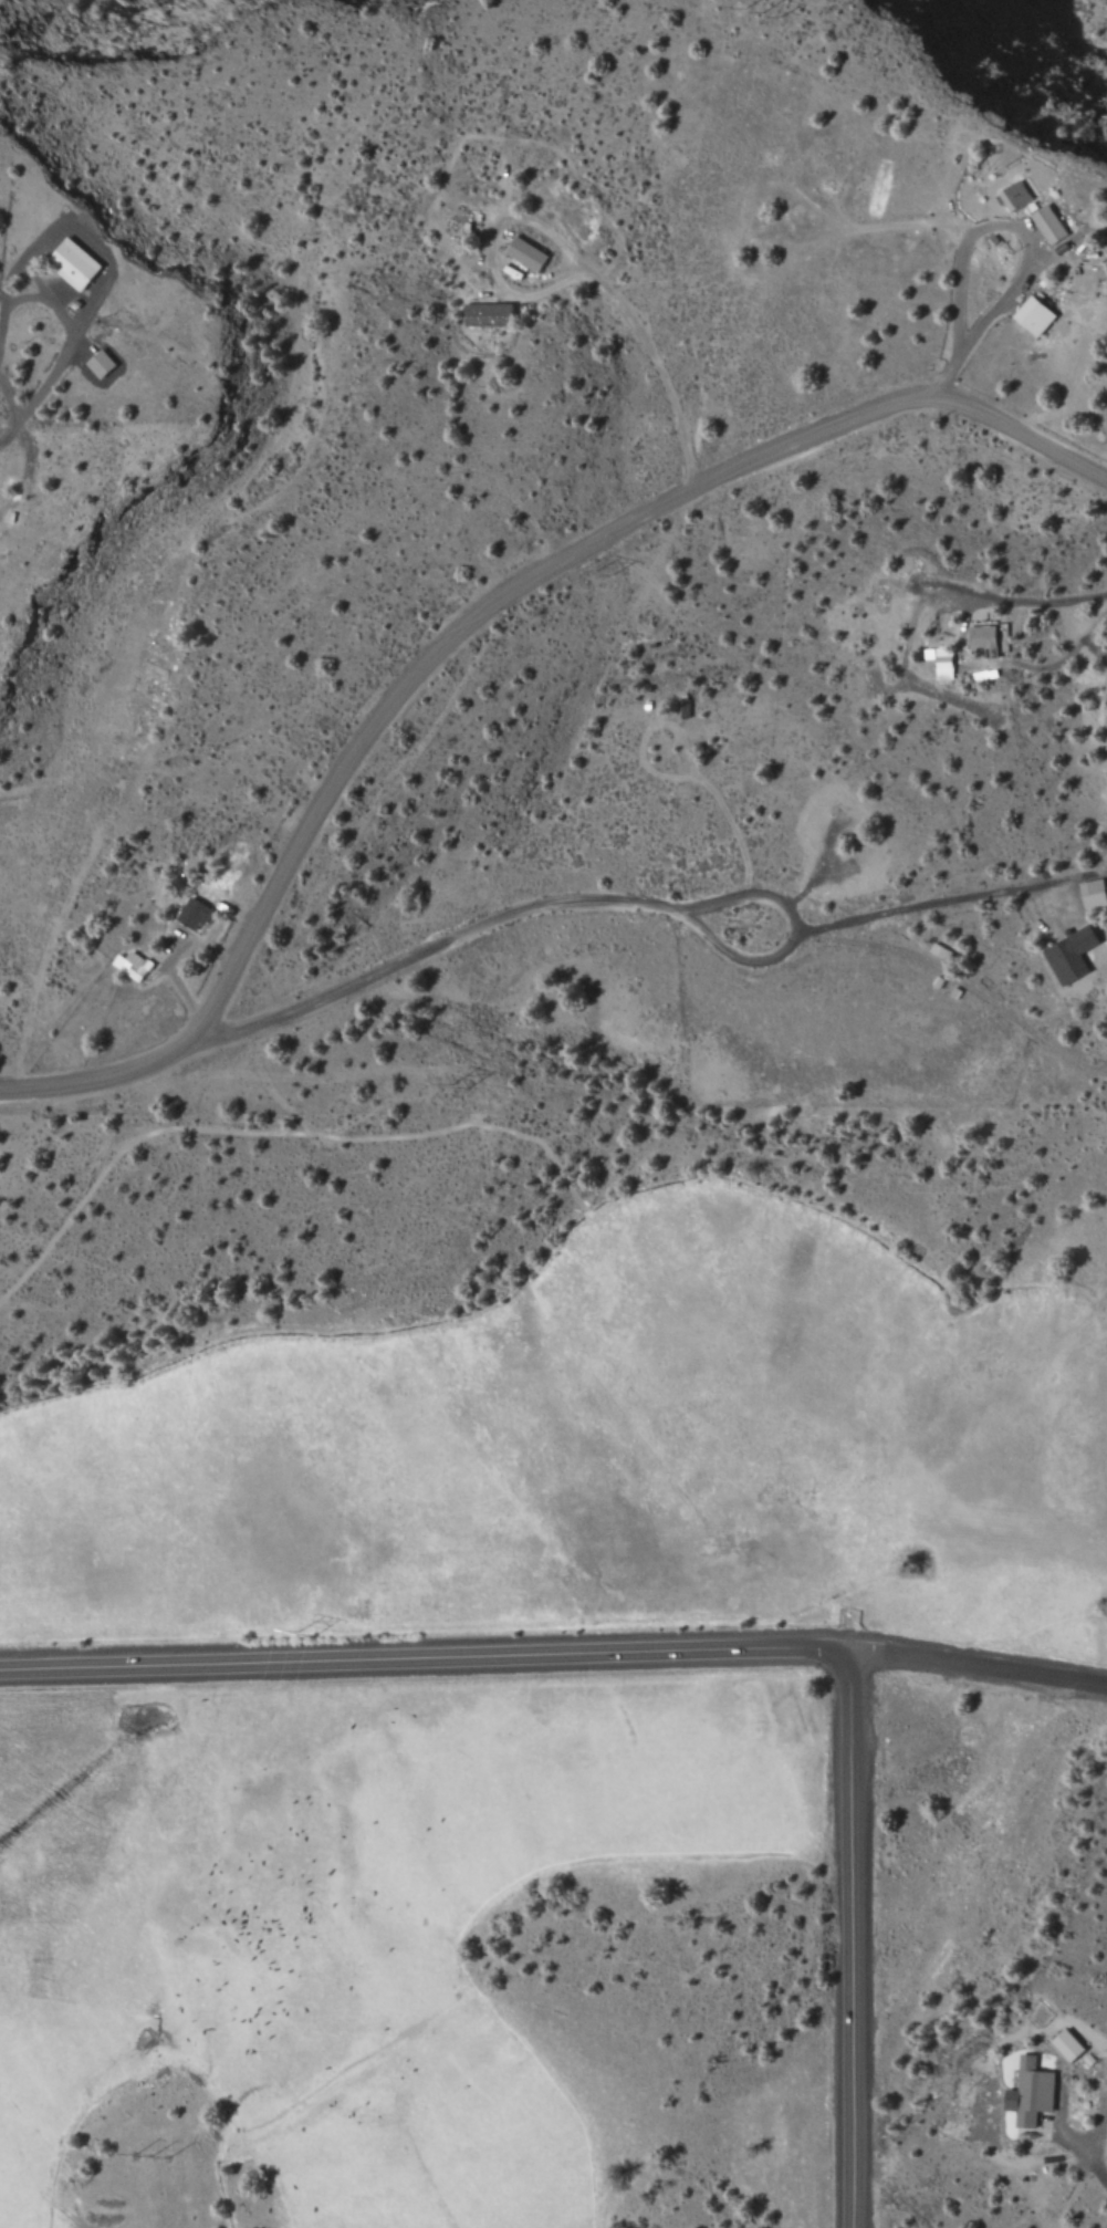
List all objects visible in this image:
power tower: (754, 13)
building: (1010, 195)
building: (1044, 225)
road: (1030, 241)
road: (574, 251)
building: (520, 253)
building: (76, 264)
building: (483, 314)
building: (103, 364)
road: (1, 403)
road: (9, 416)
road: (553, 562)
power tower: (603, 572)
road: (1035, 600)
building: (979, 639)
building: (936, 662)
building: (1090, 894)
road: (570, 900)
building: (195, 913)
road: (813, 940)
building: (1066, 955)
building: (134, 966)
road: (98, 1077)
power tower: (453, 1086)
crop: (589, 1457)
power tower: (301, 1635)
road: (424, 1658)
road: (978, 1665)
crop: (346, 1913)
road: (850, 1939)
building: (1062, 2044)
building: (1025, 2092)
power tower: (148, 2156)

